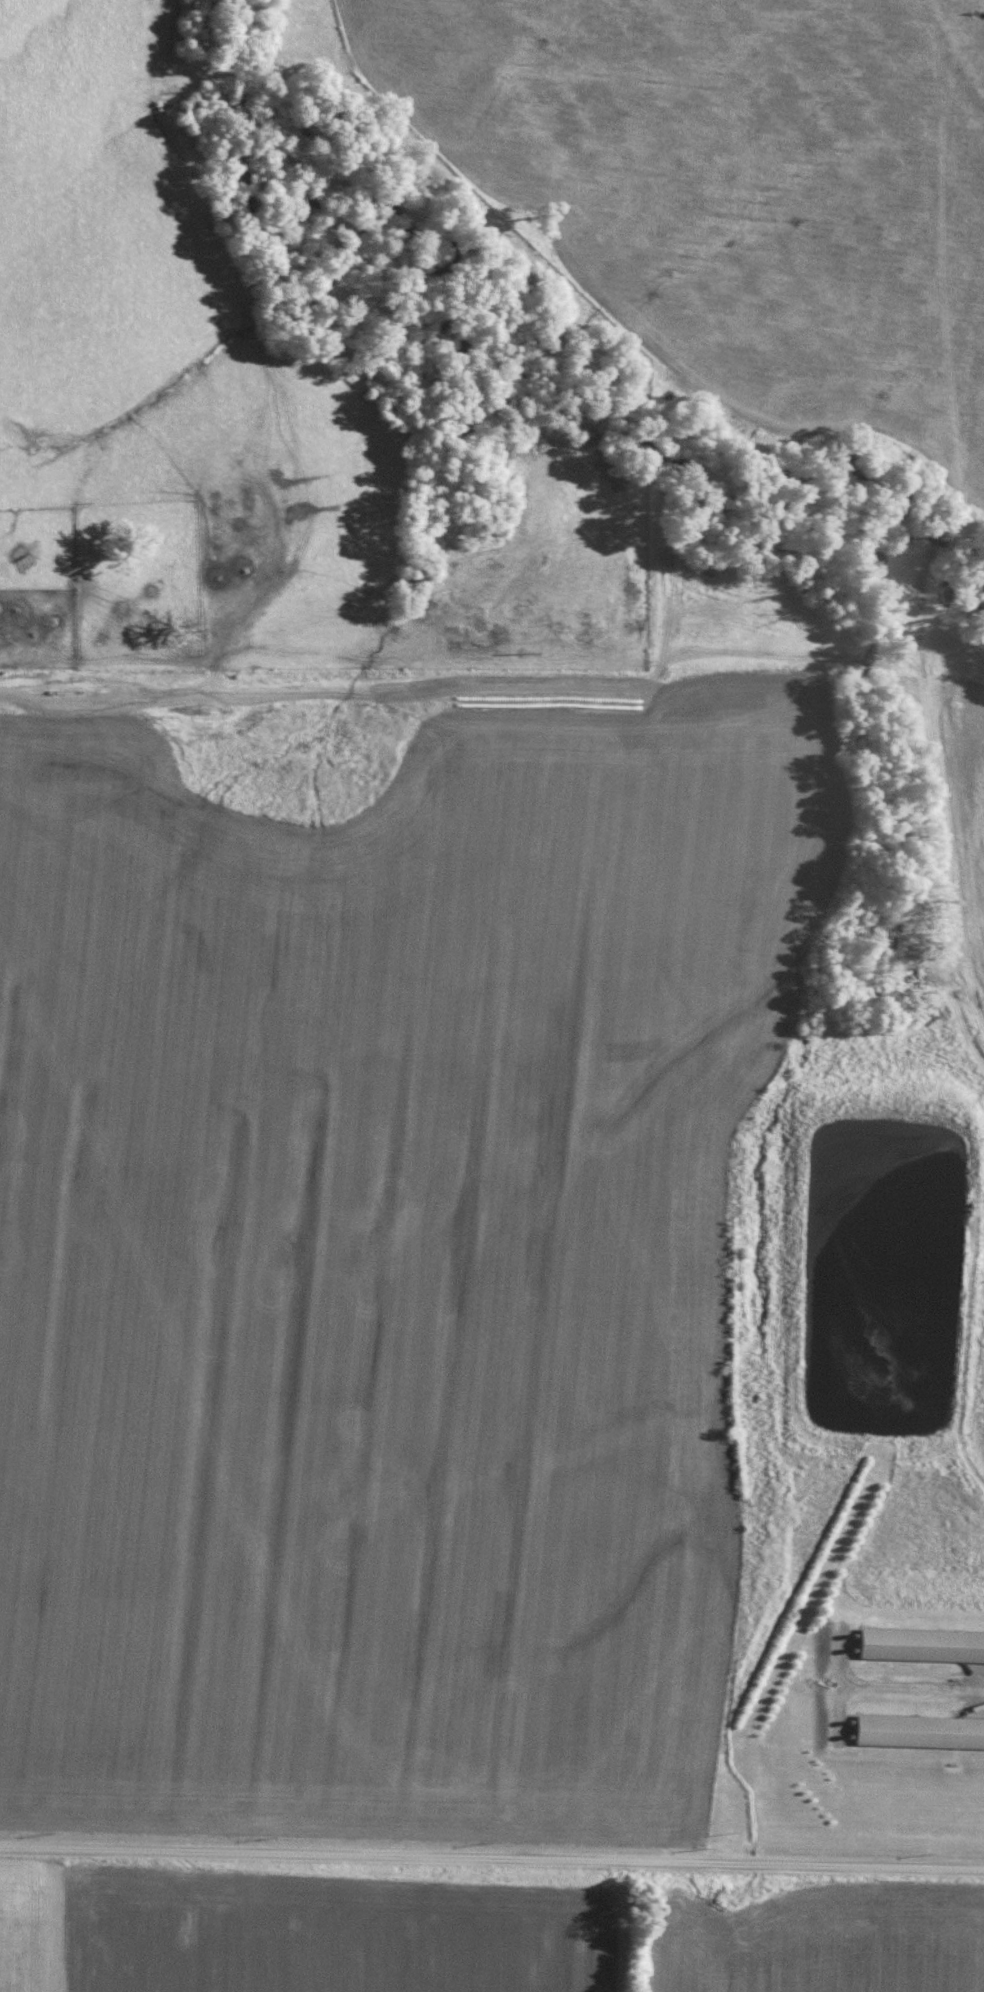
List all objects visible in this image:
building: (917, 1647)
building: (916, 1733)
road: (492, 1860)

